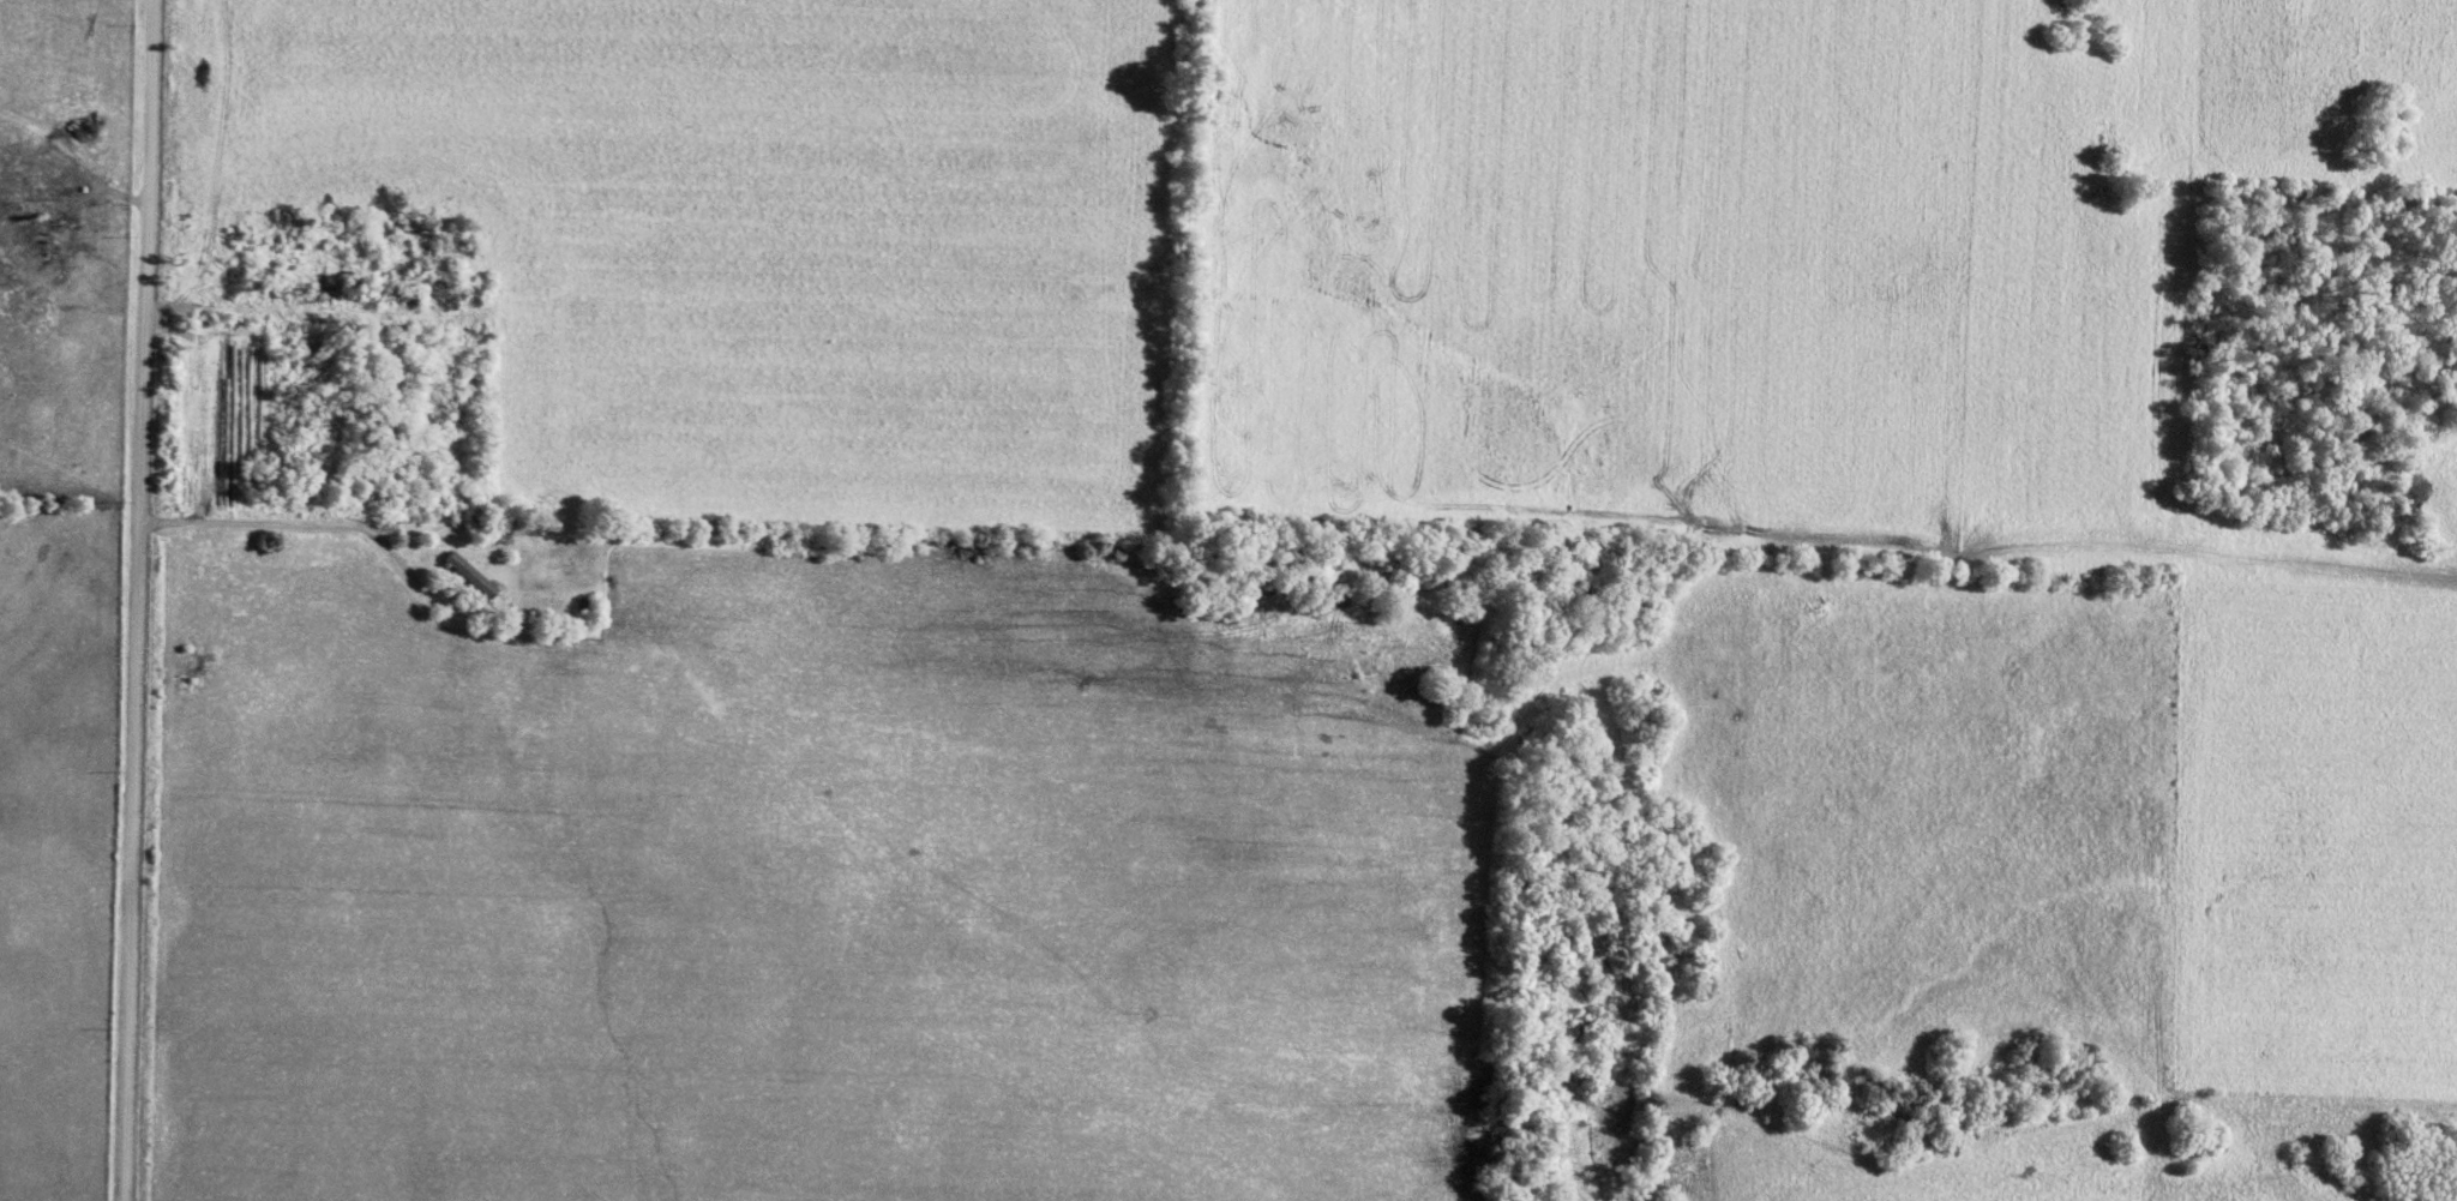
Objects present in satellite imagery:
road: (289, 522)
building: (469, 571)
road: (137, 600)

